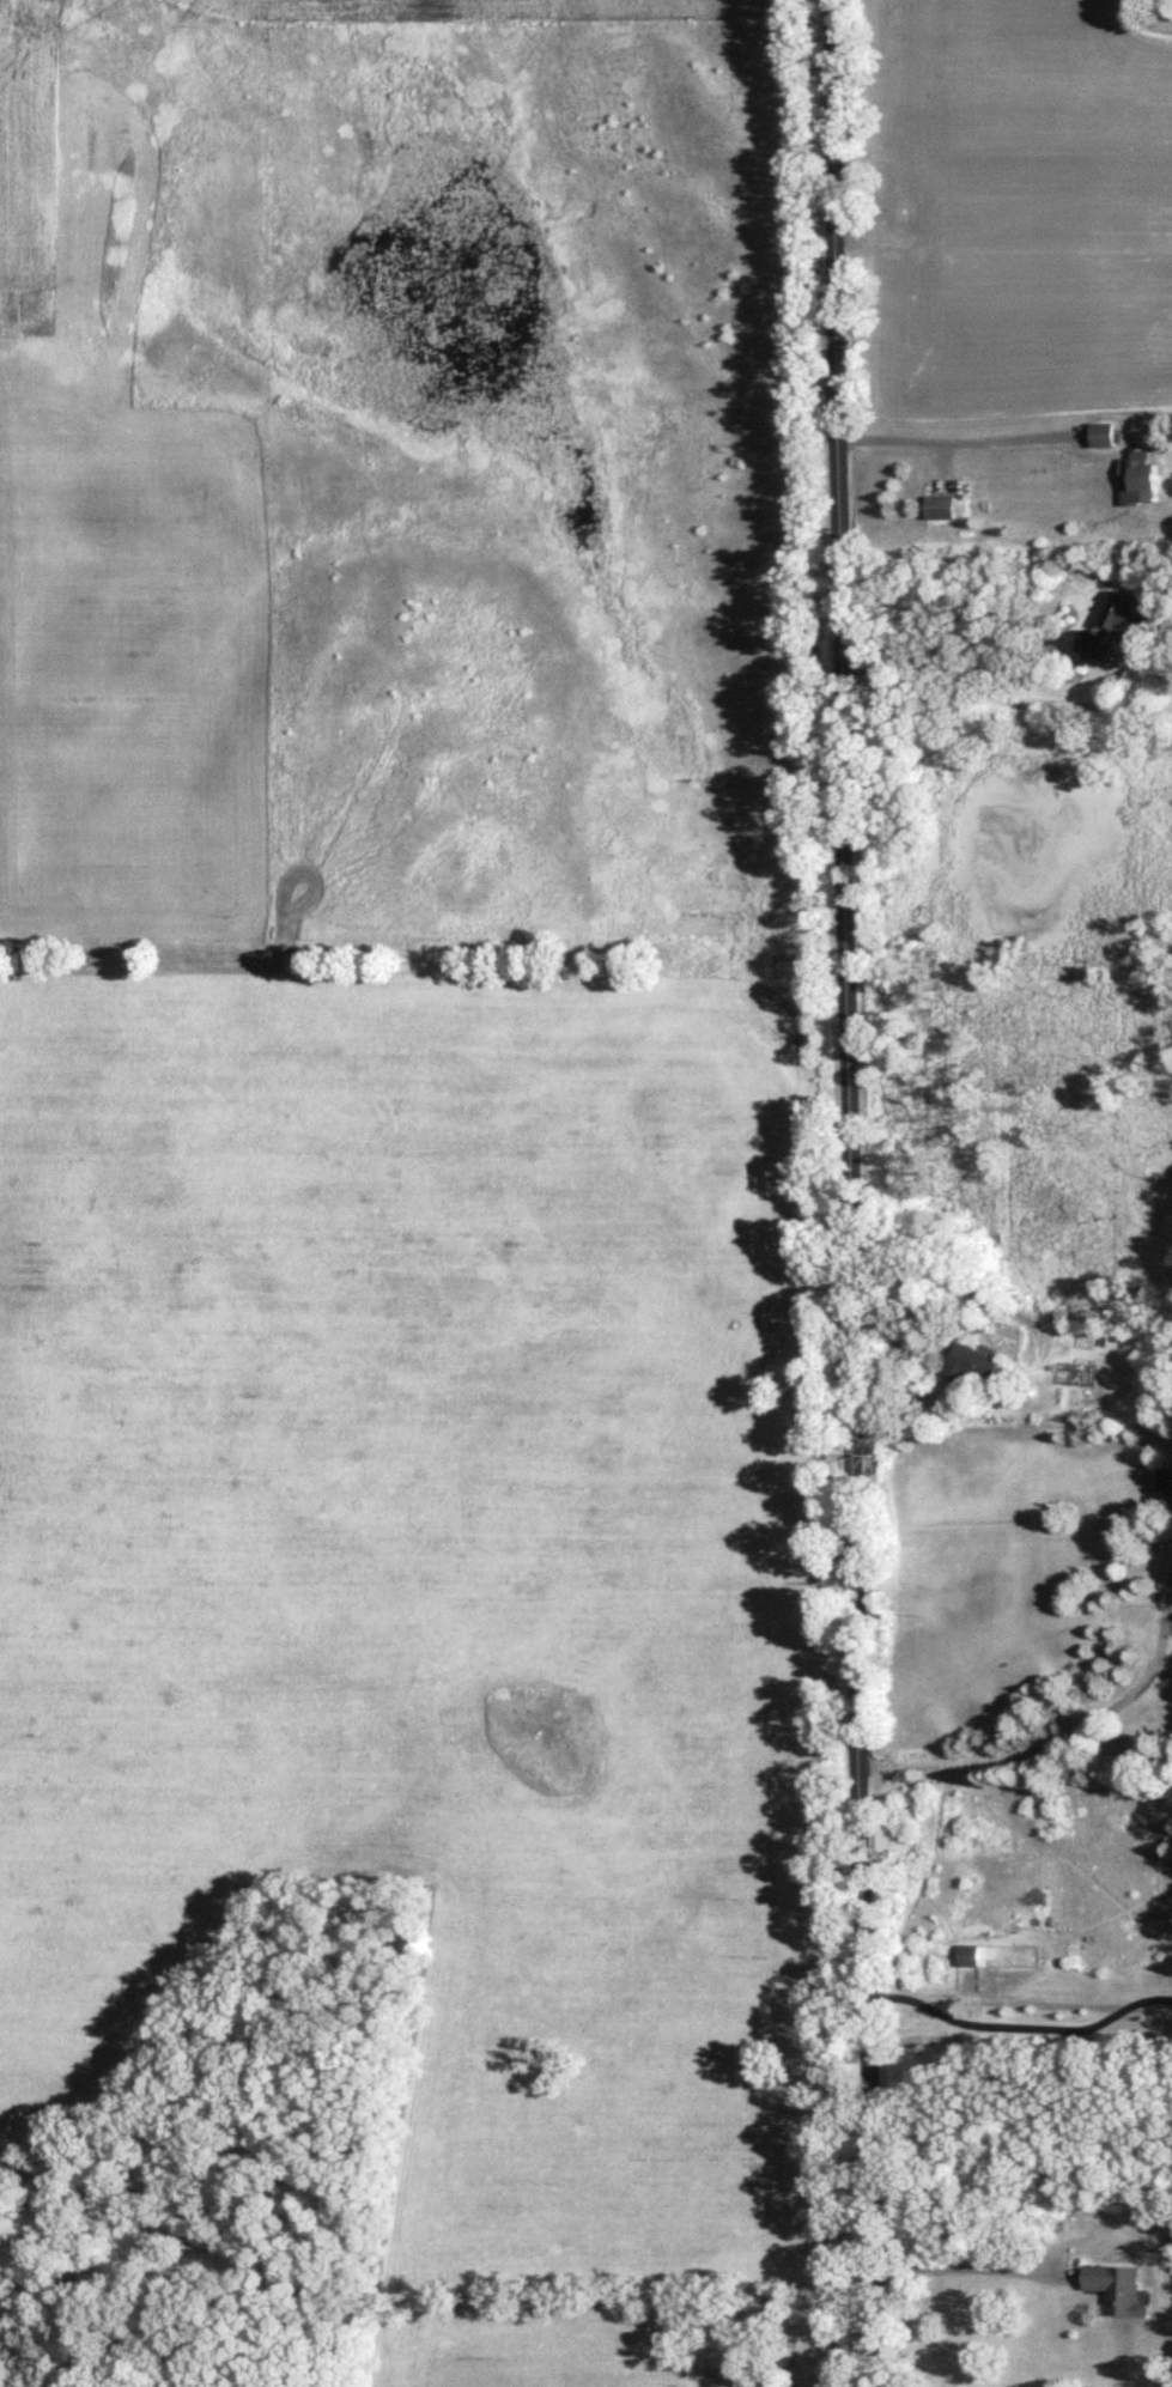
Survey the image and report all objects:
crop: (500, 12)
crop: (28, 168)
building: (1105, 432)
road: (964, 441)
building: (1118, 622)
crop: (126, 666)
road: (948, 667)
road: (860, 1192)
building: (976, 1363)
road: (1065, 1739)
building: (973, 1954)
road: (1022, 2027)
road: (974, 2268)
building: (1118, 2286)

